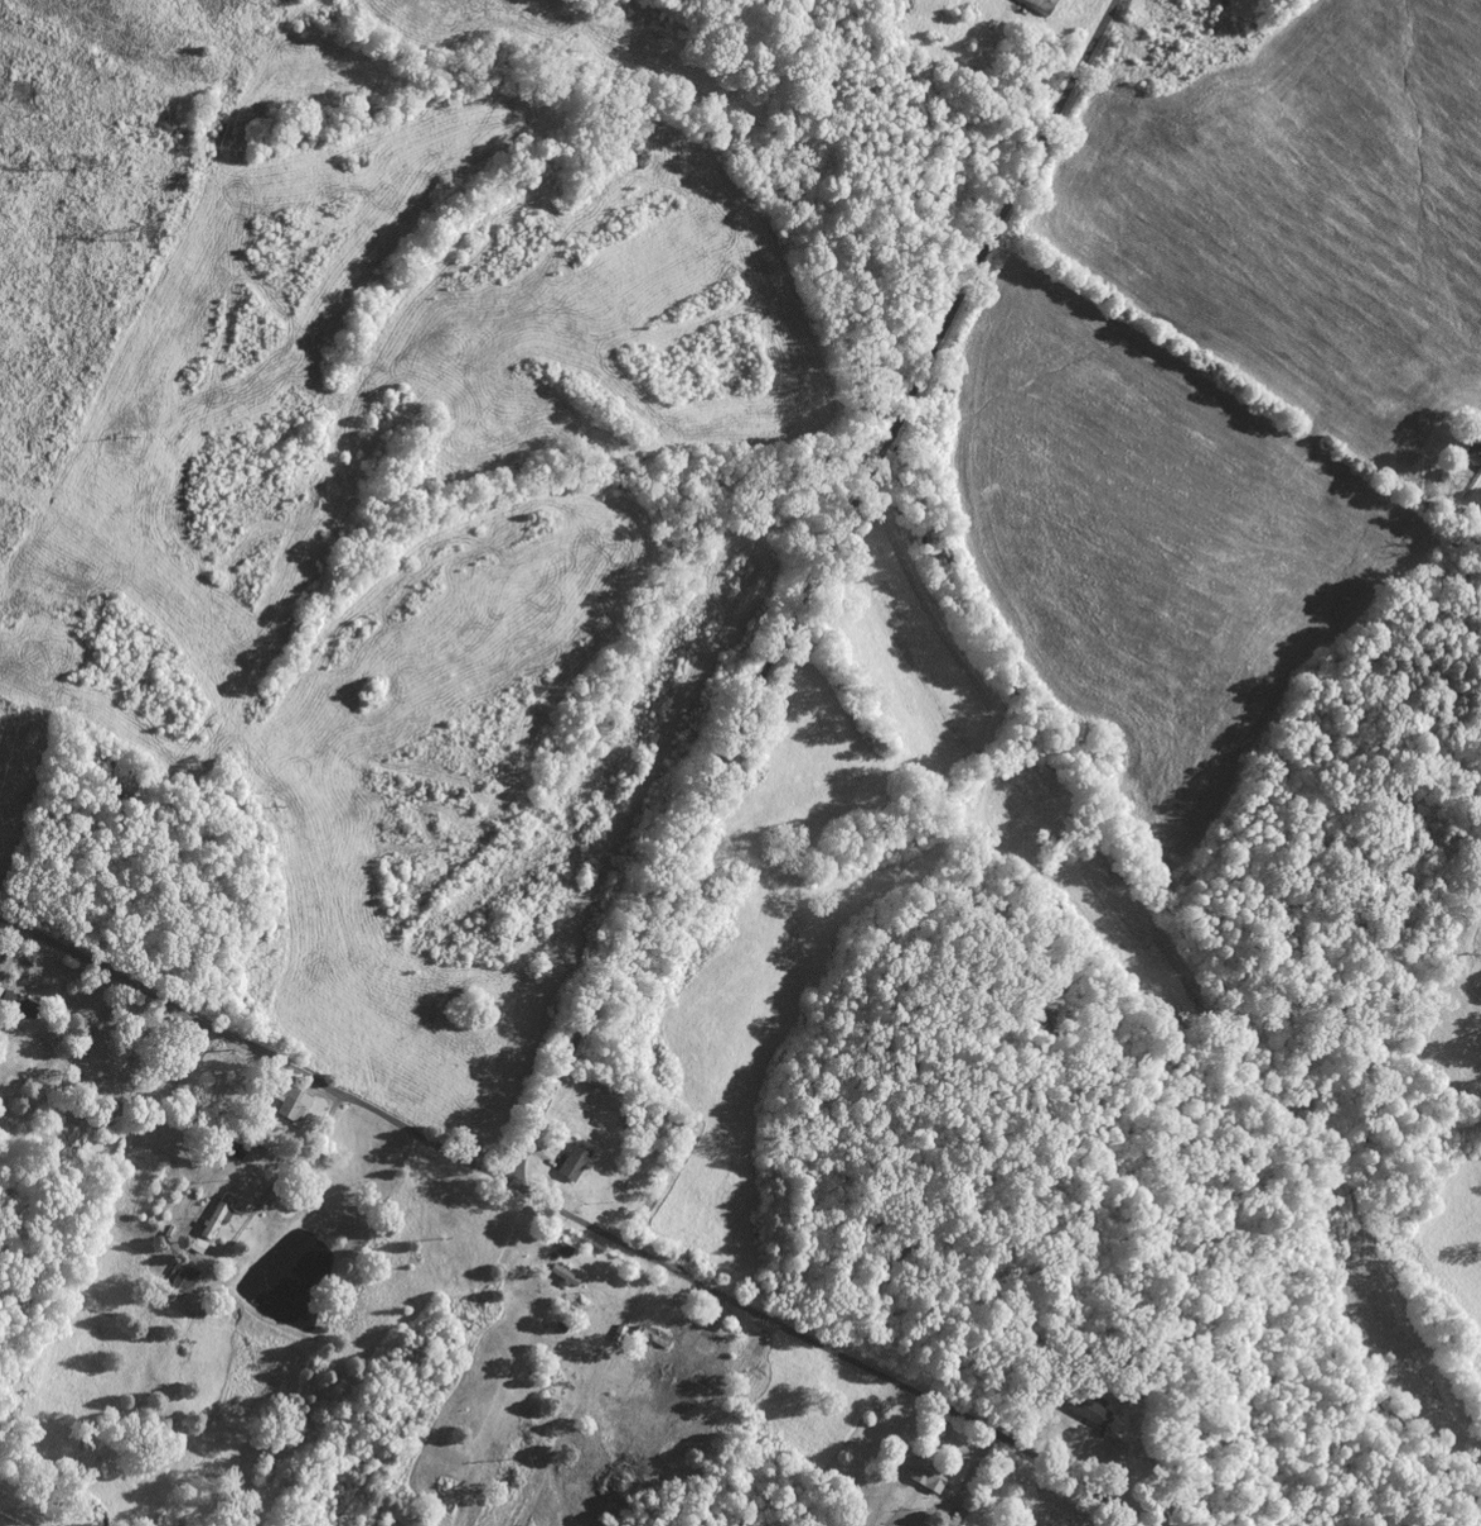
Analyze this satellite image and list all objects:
building: (1040, 4)
road: (1121, 25)
power tower: (21, 88)
power tower: (83, 159)
power tower: (143, 232)
building: (1473, 448)
road: (805, 588)
building: (1, 991)
building: (21, 1005)
road: (263, 1059)
building: (293, 1104)
building: (265, 1141)
building: (572, 1160)
building: (218, 1216)
building: (200, 1246)
building: (564, 1273)
building: (183, 1278)
building: (618, 1330)
building: (647, 1332)
building: (705, 1340)
road: (835, 1350)
building: (1088, 1408)
building: (1116, 1450)
building: (923, 1469)

